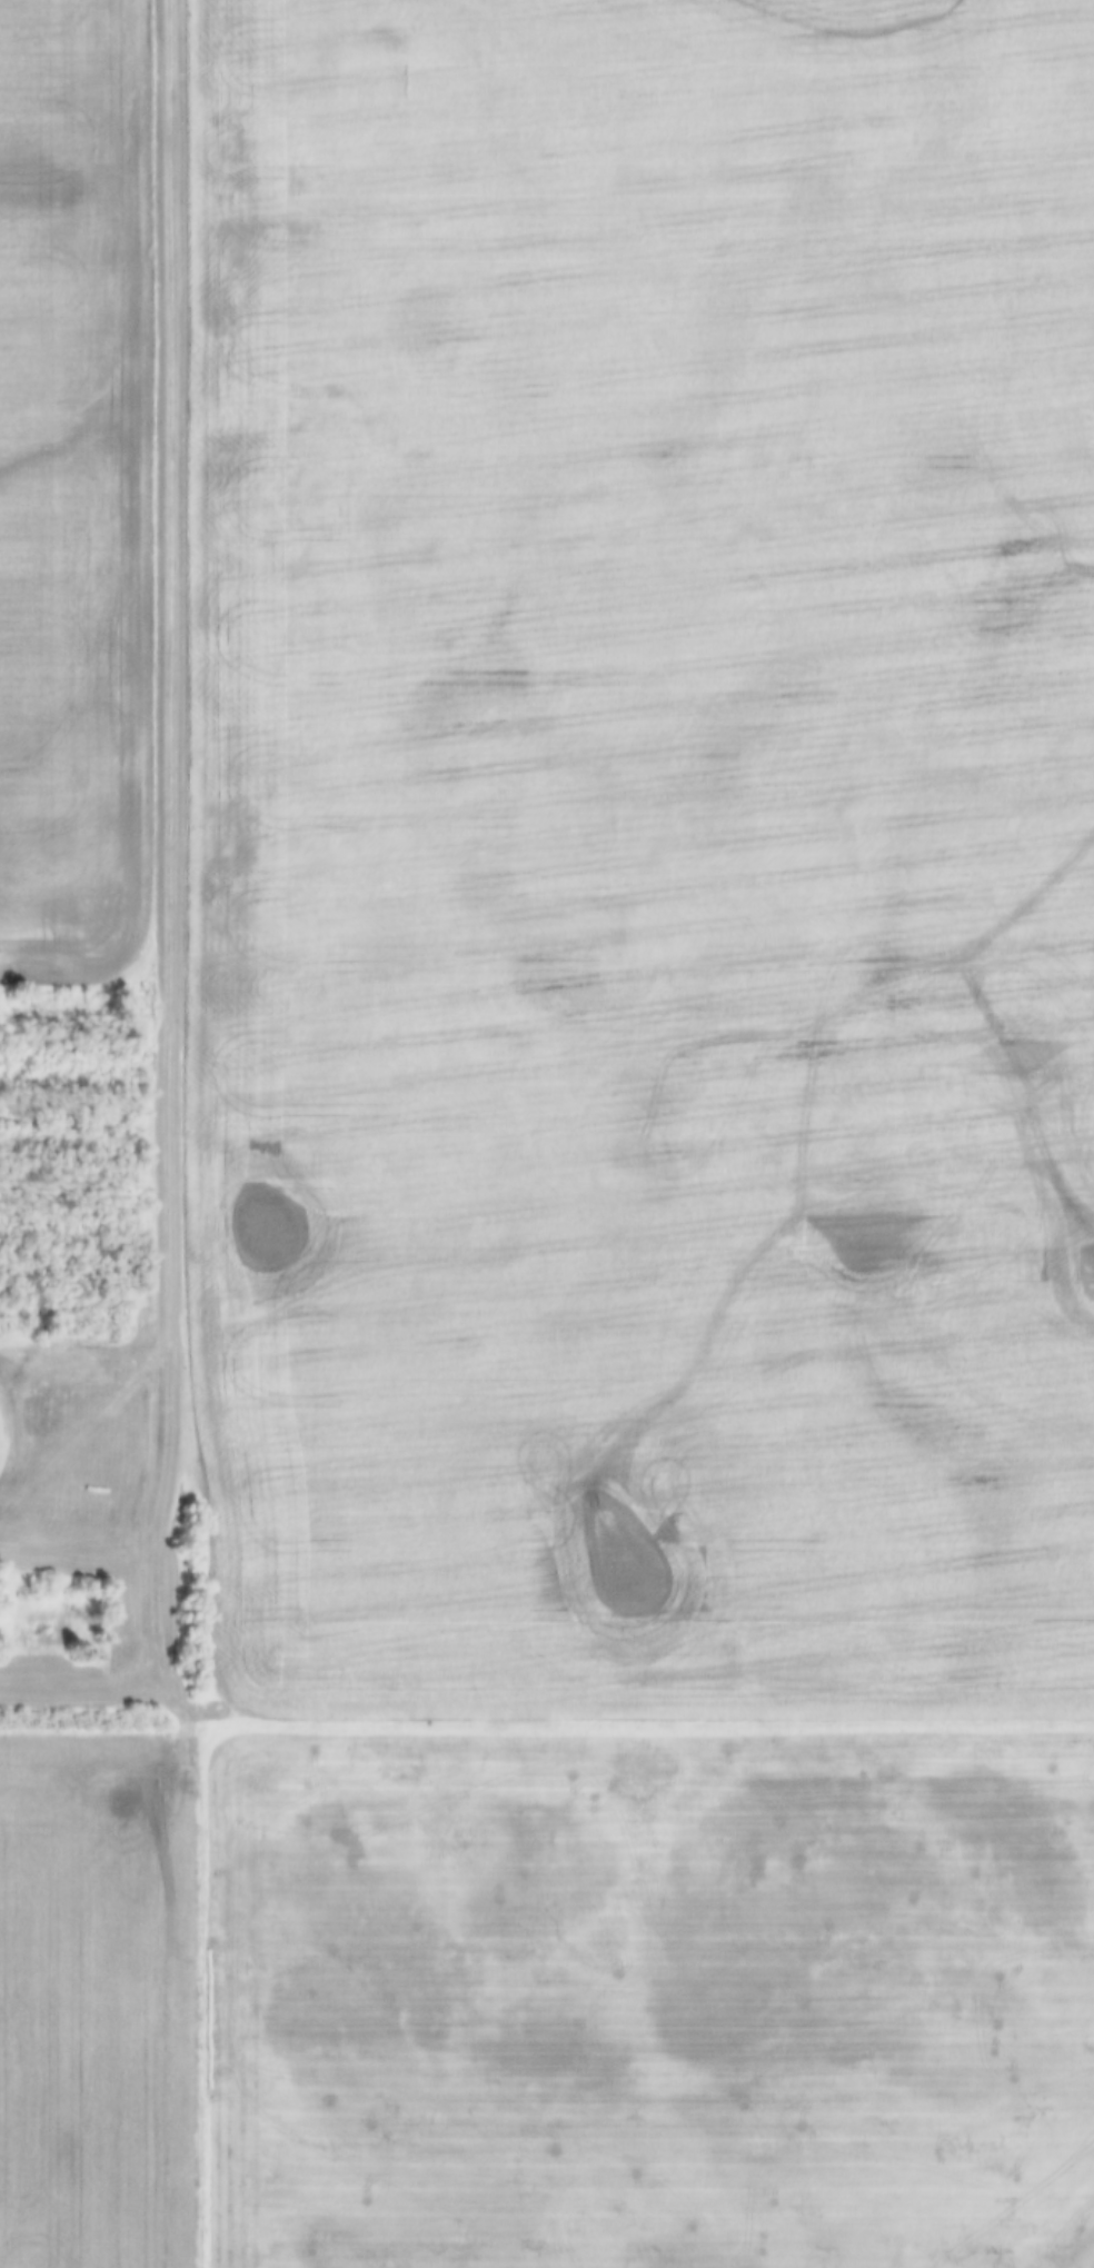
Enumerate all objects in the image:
road: (170, 1315)

